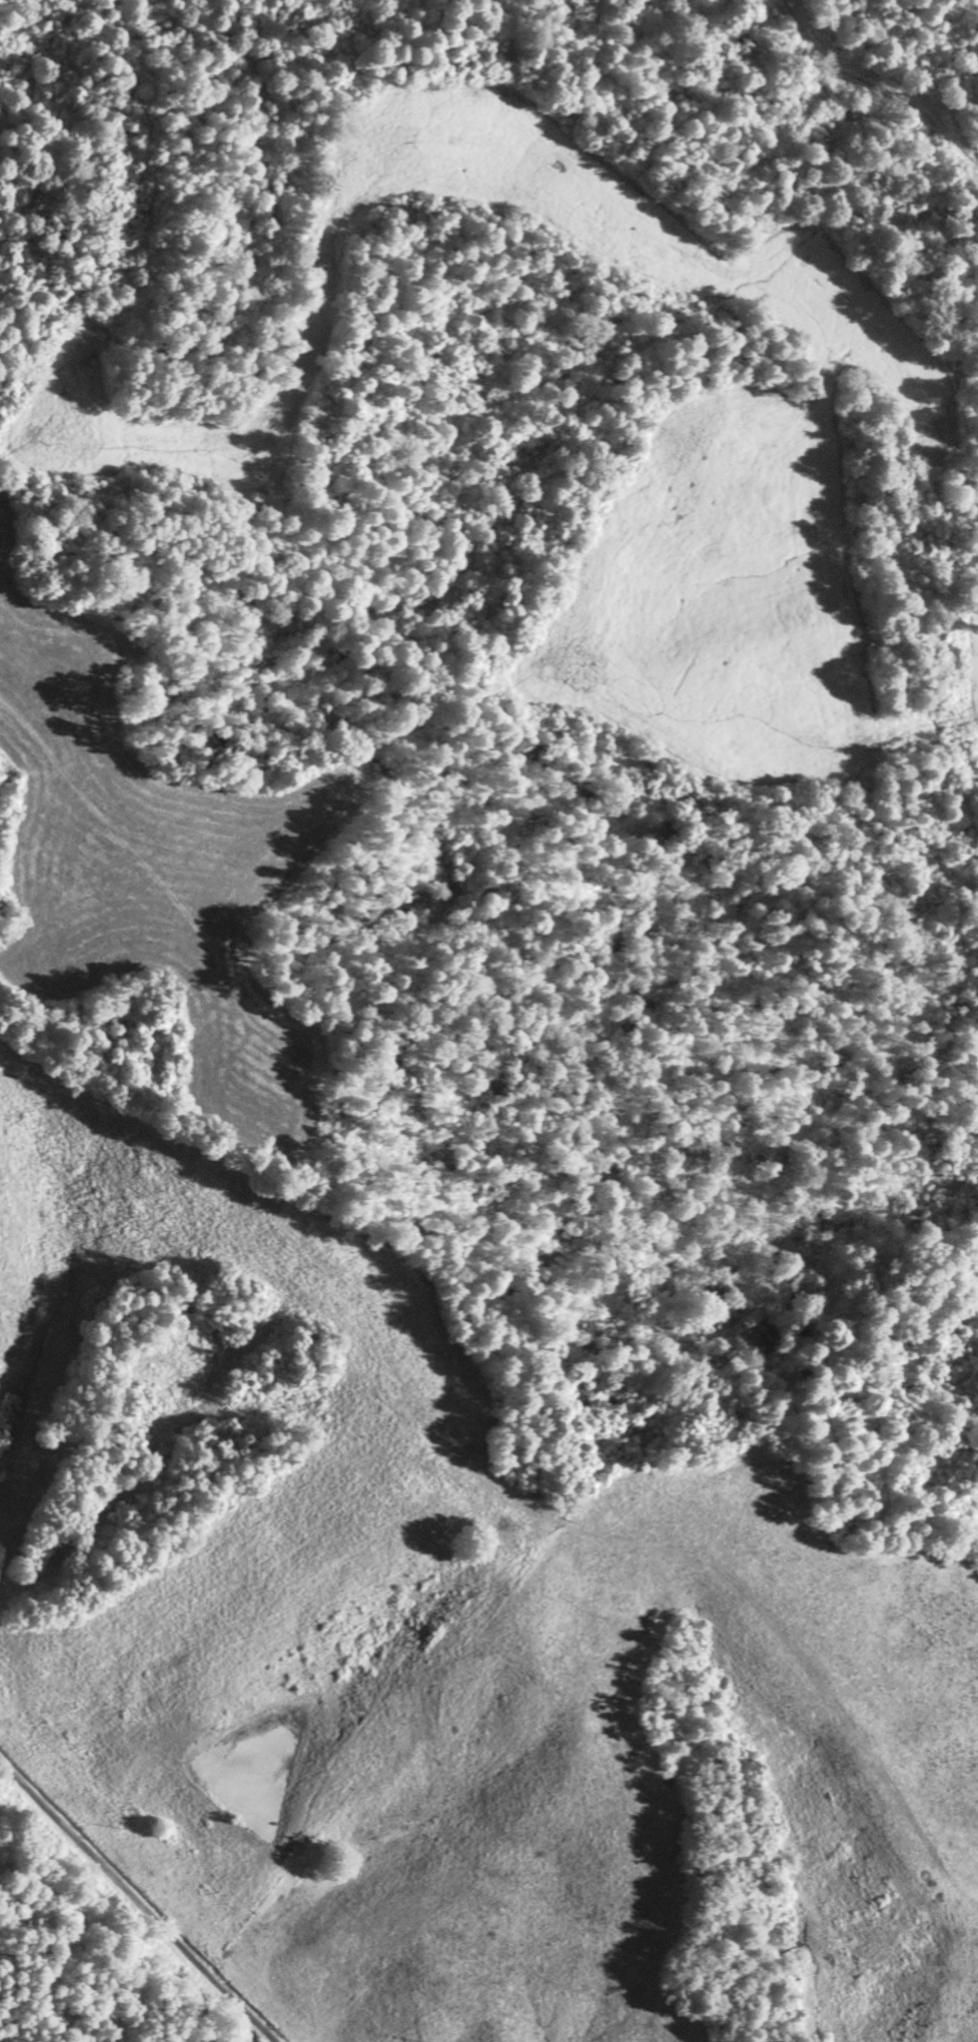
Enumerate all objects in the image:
road: (141, 1900)

